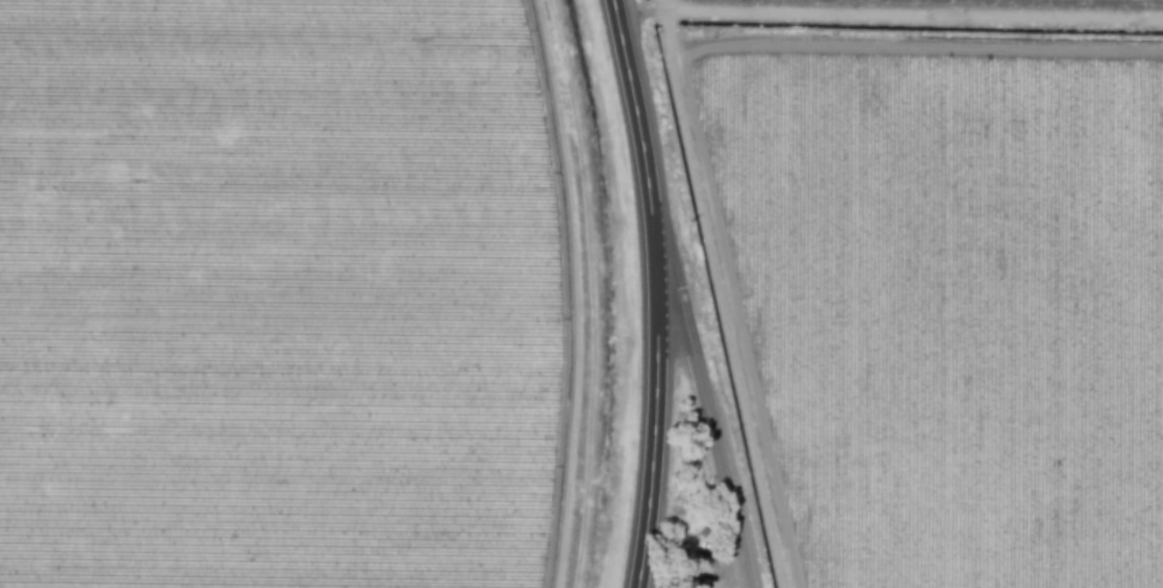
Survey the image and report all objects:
road: (613, 11)
road: (562, 293)
crop: (300, 295)
road: (655, 302)
road: (703, 425)

